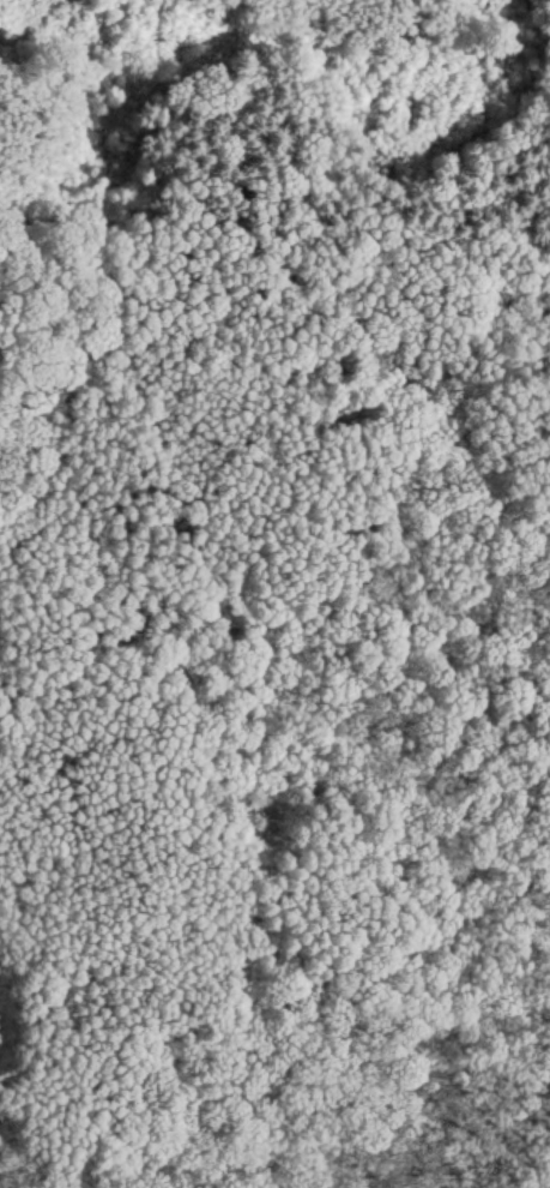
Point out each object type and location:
road: (35, 288)
road: (268, 708)
road: (478, 1108)

